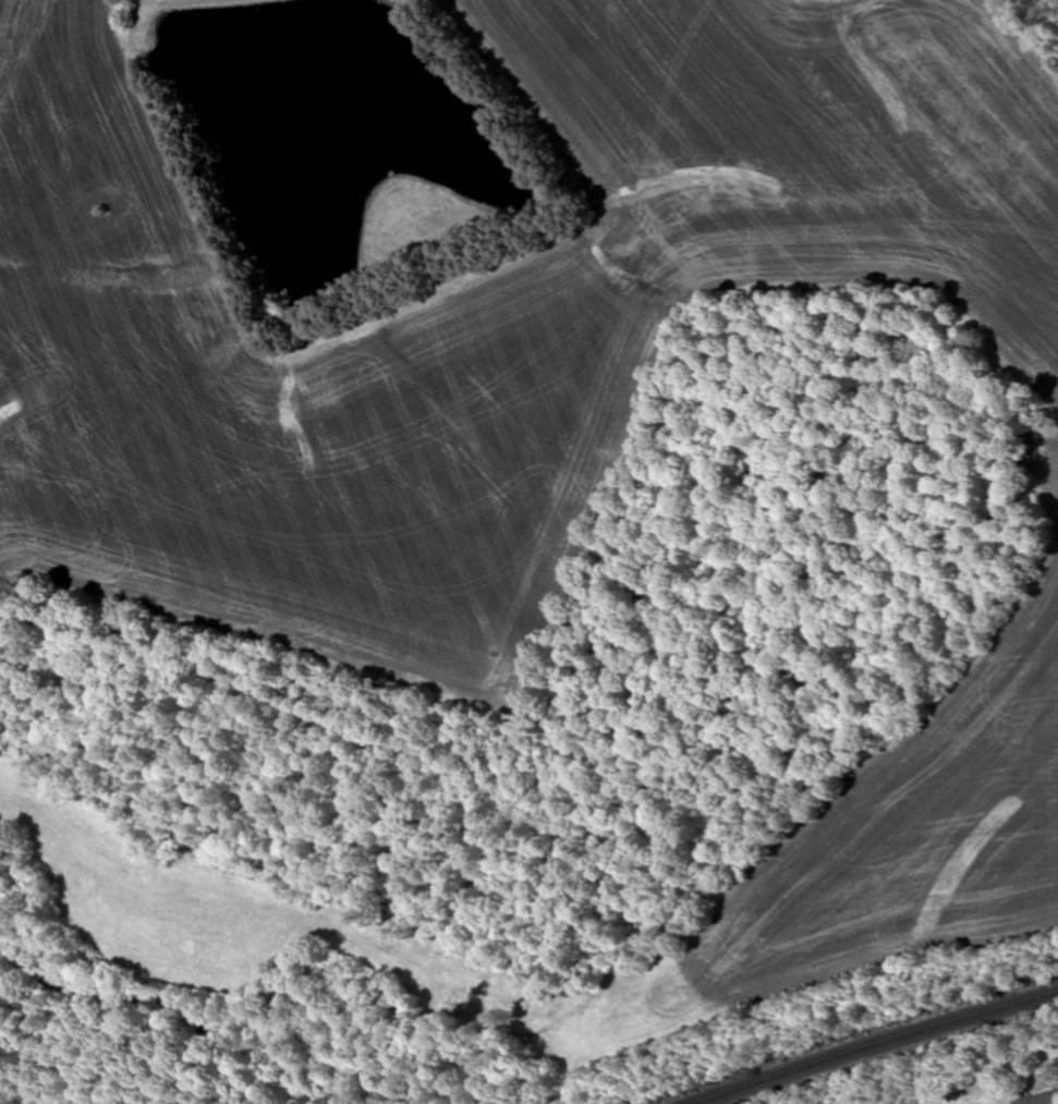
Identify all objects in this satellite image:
railway: (876, 1043)
building: (1039, 1099)

